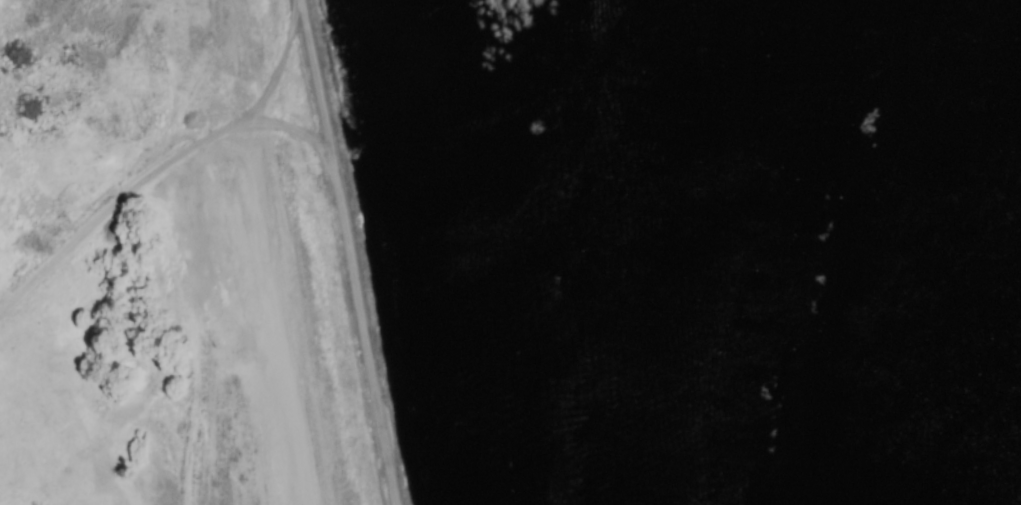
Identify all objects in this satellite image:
crop: (552, 175)
road: (350, 251)
crop: (180, 264)

